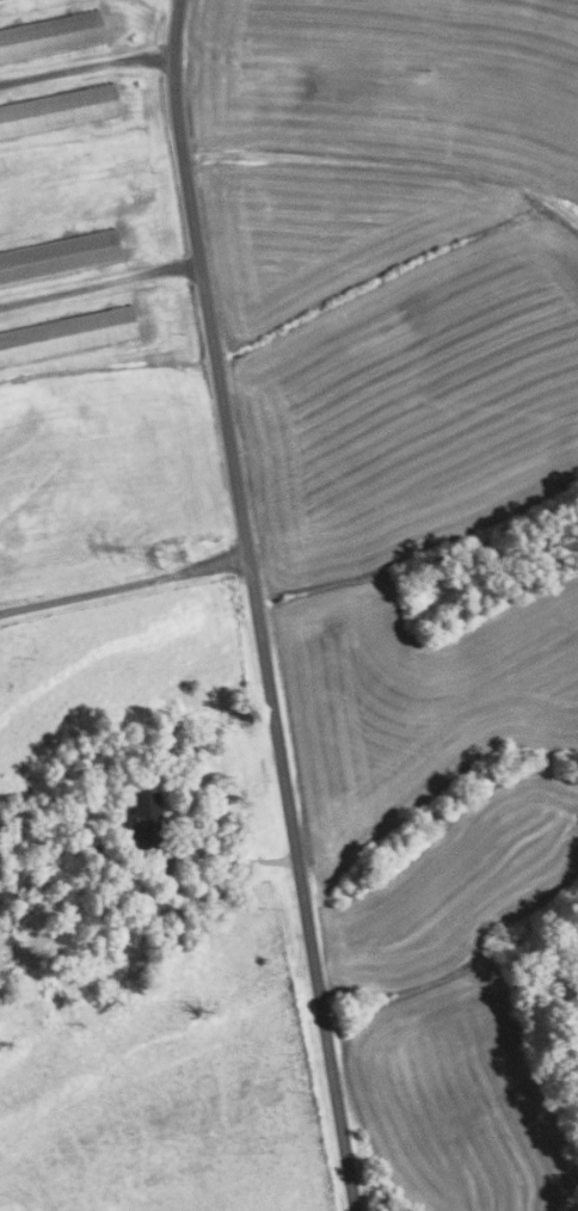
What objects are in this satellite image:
building: (50, 36)
road: (86, 68)
crop: (391, 82)
building: (59, 110)
road: (386, 165)
building: (59, 256)
road: (99, 284)
building: (67, 333)
crop: (392, 361)
crop: (102, 474)
power tower: (173, 559)
road: (123, 583)
road: (257, 605)
building: (146, 824)
building: (102, 853)
road: (235, 862)
crop: (437, 873)

